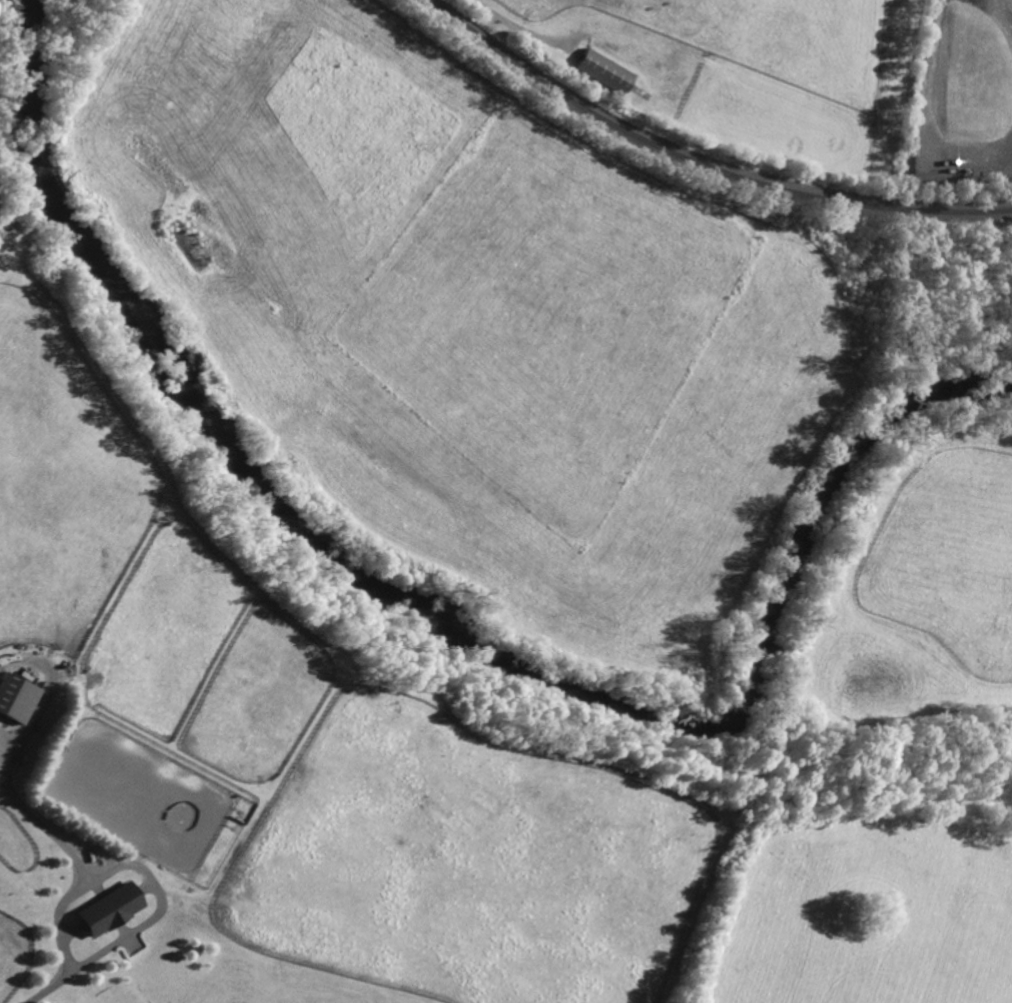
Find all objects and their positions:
road: (520, 30)
building: (605, 70)
railway: (701, 164)
building: (18, 696)
building: (62, 876)
road: (142, 878)
building: (111, 908)
road: (58, 921)

